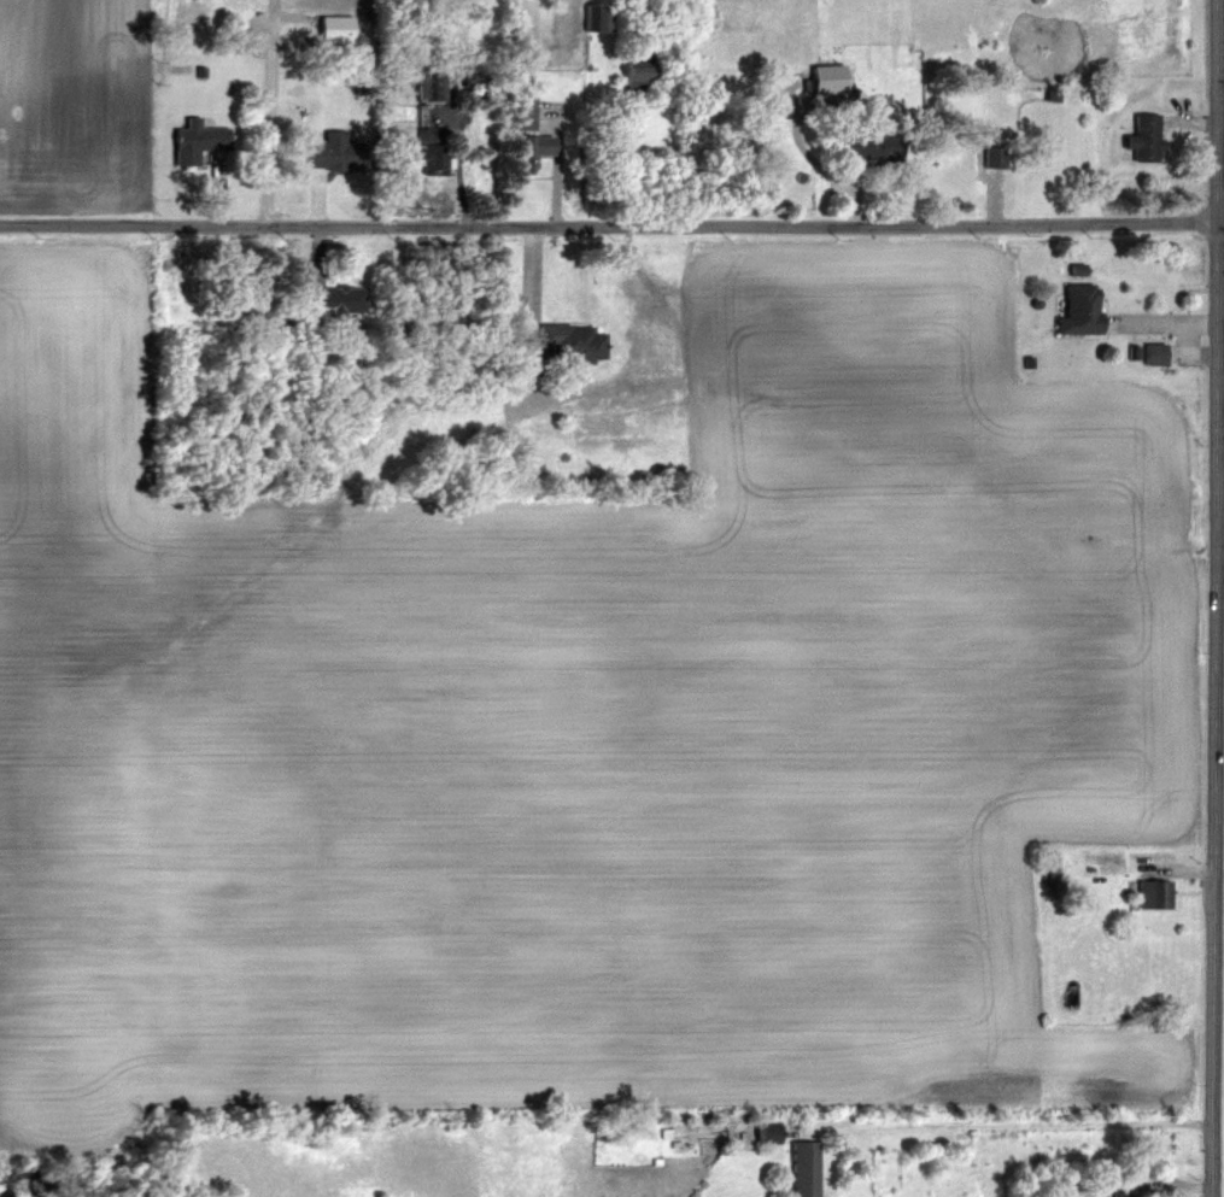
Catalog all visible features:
building: (598, 18)
building: (334, 31)
building: (637, 81)
building: (437, 83)
building: (523, 113)
road: (269, 131)
building: (1143, 139)
building: (197, 142)
building: (872, 146)
building: (529, 151)
building: (334, 152)
building: (433, 152)
building: (992, 157)
road: (611, 225)
building: (178, 284)
building: (334, 300)
building: (1079, 310)
building: (556, 350)
road: (1217, 598)
building: (1153, 896)
road: (1038, 1125)
building: (767, 1134)
building: (803, 1169)
building: (1119, 1193)

